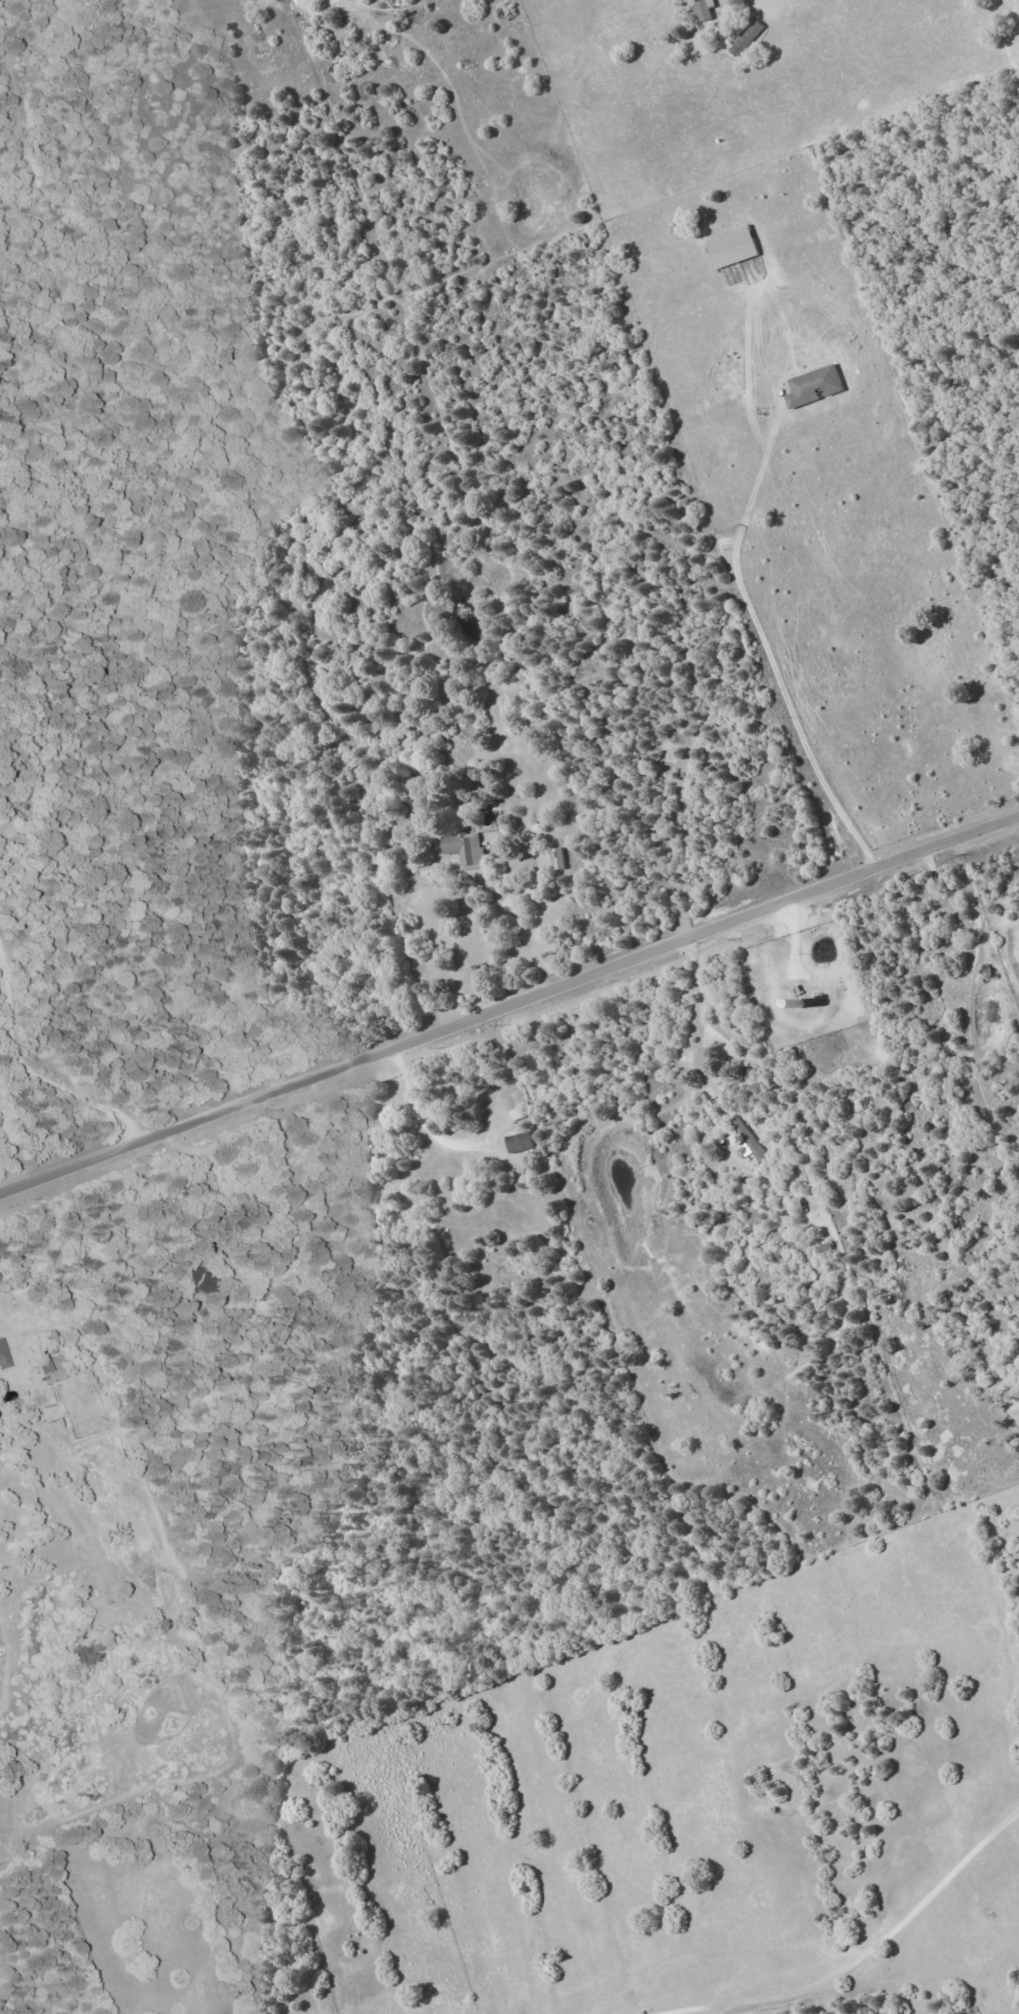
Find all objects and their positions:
building: (702, 9)
building: (729, 247)
building: (811, 386)
road: (764, 646)
road: (3, 842)
building: (465, 849)
building: (556, 858)
road: (749, 881)
road: (885, 959)
road: (488, 960)
road: (585, 963)
road: (509, 1005)
road: (723, 1043)
road: (38, 1079)
building: (714, 1090)
road: (423, 1123)
road: (636, 1127)
building: (747, 1140)
building: (518, 1142)
road: (416, 1162)
road: (245, 1187)
building: (4, 1354)
road: (870, 1952)

